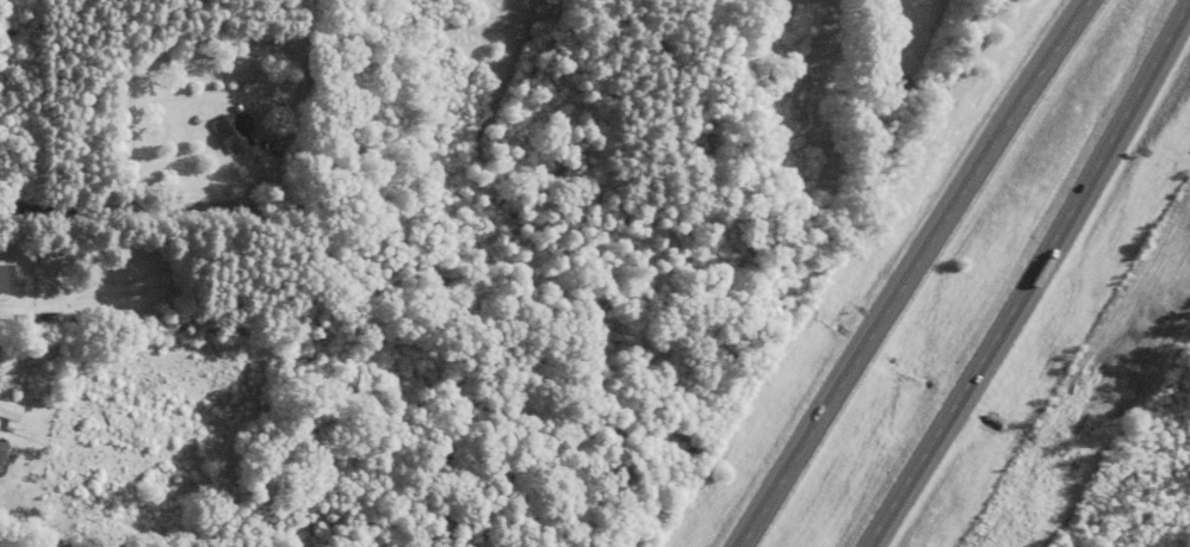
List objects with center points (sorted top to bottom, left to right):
building: (233, 136)
road: (122, 209)
road: (913, 272)
road: (1024, 273)
building: (7, 280)
building: (50, 324)
building: (2, 454)
road: (10, 546)

